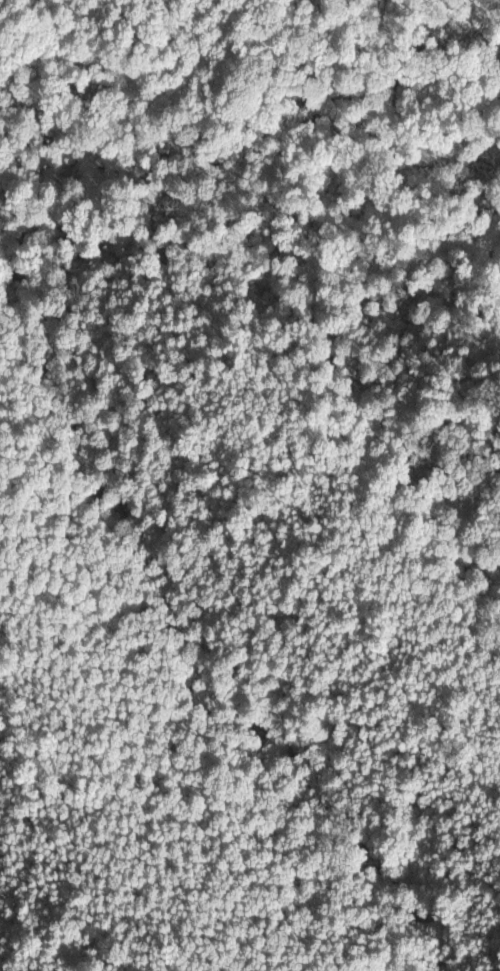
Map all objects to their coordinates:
road: (72, 102)

